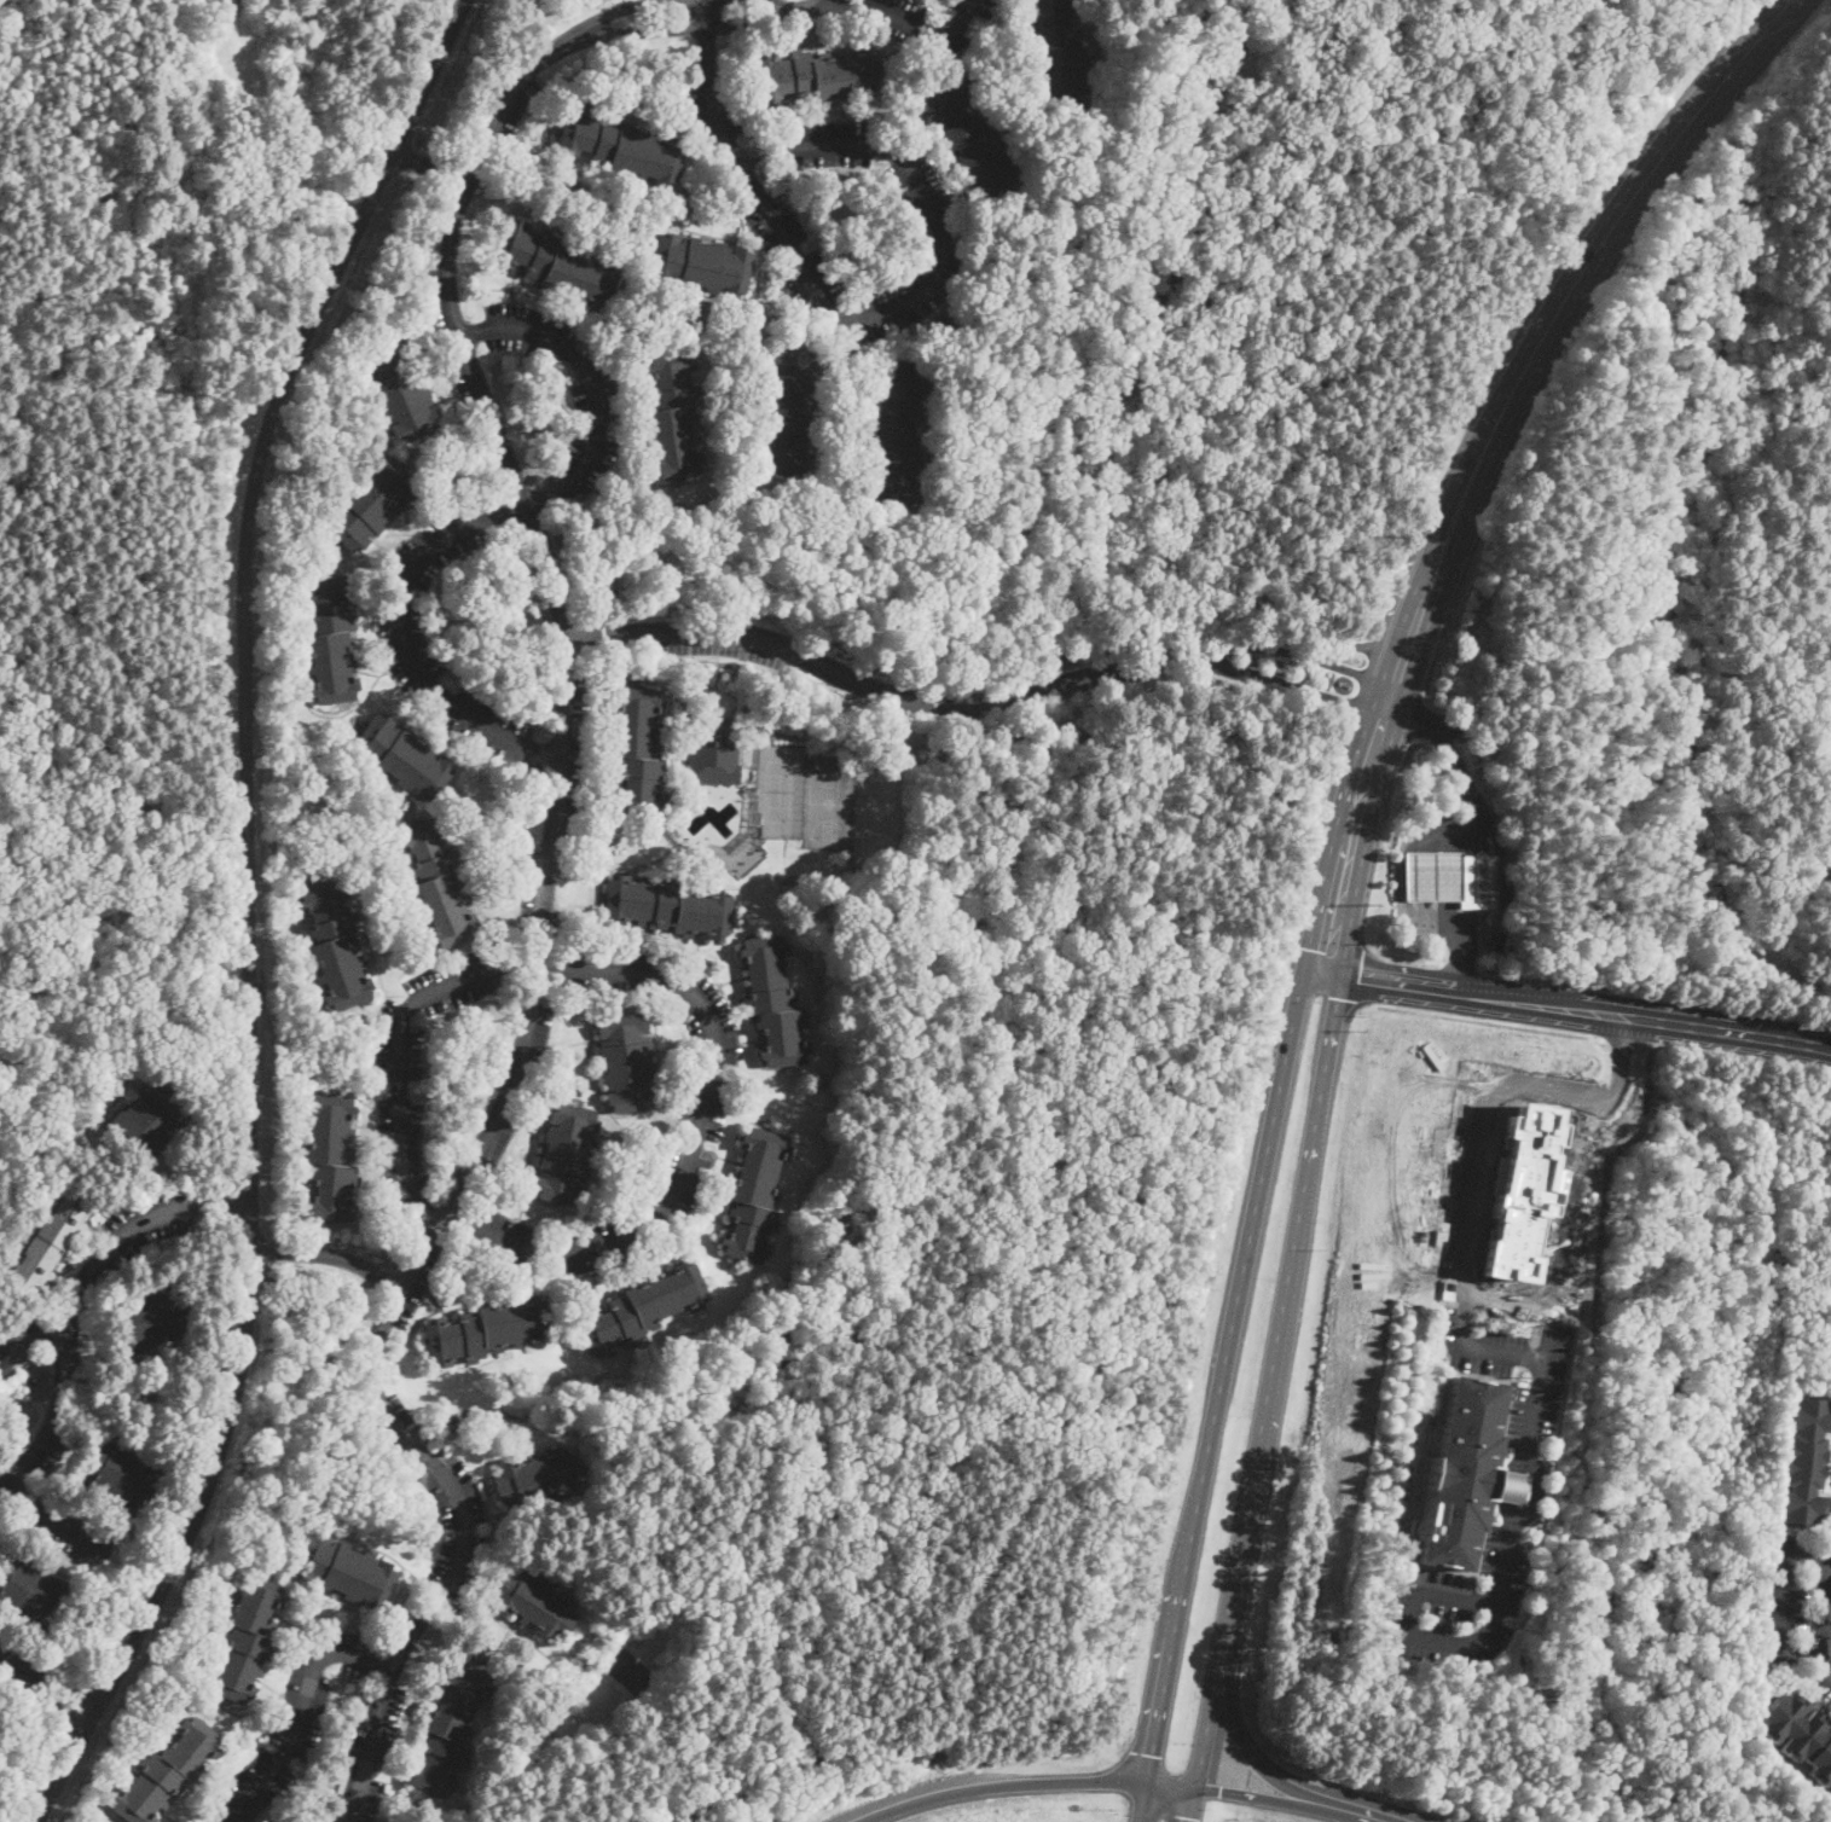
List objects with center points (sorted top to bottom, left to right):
road: (822, 2)
road: (782, 4)
road: (806, 6)
road: (614, 11)
road: (904, 18)
road: (686, 28)
building: (1058, 52)
building: (818, 75)
road: (708, 82)
building: (967, 133)
building: (620, 146)
road: (430, 166)
building: (555, 263)
building: (699, 263)
road: (935, 274)
building: (951, 318)
building: (569, 367)
road: (591, 381)
building: (400, 390)
building: (788, 408)
building: (672, 414)
building: (897, 433)
road: (1483, 449)
building: (537, 478)
building: (370, 504)
road: (404, 636)
building: (329, 638)
road: (1354, 645)
road: (1297, 652)
road: (1290, 686)
road: (880, 690)
road: (1829, 694)
park: (99, 715)
building: (637, 750)
building: (1472, 752)
building: (714, 753)
road: (137, 754)
building: (402, 756)
building: (535, 768)
building: (1829, 819)
road: (1494, 836)
building: (1827, 837)
road: (1420, 865)
building: (1431, 876)
building: (436, 880)
building: (1477, 882)
building: (667, 906)
road: (247, 911)
road: (1329, 940)
road: (539, 941)
building: (334, 944)
traffic signals: (1325, 950)
road: (1415, 959)
road: (1461, 967)
road: (1367, 976)
traffic signals: (1360, 977)
road: (1656, 993)
traffic signals: (1335, 999)
building: (772, 1002)
road: (1575, 1011)
road: (1495, 1023)
road: (399, 1046)
road: (1622, 1046)
road: (1733, 1061)
building: (625, 1062)
building: (147, 1120)
road: (1483, 1125)
road: (695, 1136)
building: (566, 1153)
building: (329, 1155)
building: (753, 1194)
building: (1520, 1194)
road: (215, 1199)
road: (216, 1209)
building: (50, 1242)
road: (331, 1252)
building: (642, 1309)
road: (1233, 1317)
road: (1462, 1317)
building: (147, 1318)
road: (1279, 1321)
building: (486, 1330)
road: (66, 1331)
road: (31, 1334)
building: (4, 1368)
road: (1525, 1422)
building: (1802, 1461)
building: (1456, 1472)
building: (123, 1476)
building: (535, 1478)
road: (1528, 1489)
road: (56, 1520)
parking lot: (65, 1527)
building: (343, 1569)
building: (29, 1592)
building: (532, 1602)
road: (1785, 1602)
road: (1820, 1619)
road: (1825, 1629)
building: (244, 1638)
building: (50, 1660)
road: (13, 1664)
road: (64, 1685)
road: (58, 1696)
road: (297, 1714)
building: (450, 1725)
building: (1798, 1734)
road: (1154, 1747)
road: (1203, 1747)
traffic signals: (1153, 1754)
road: (1257, 1766)
building: (166, 1772)
road: (1027, 1785)
building: (1829, 1791)
traffic signals: (1215, 1792)
road: (1294, 1804)
traffic signals: (1192, 1820)

